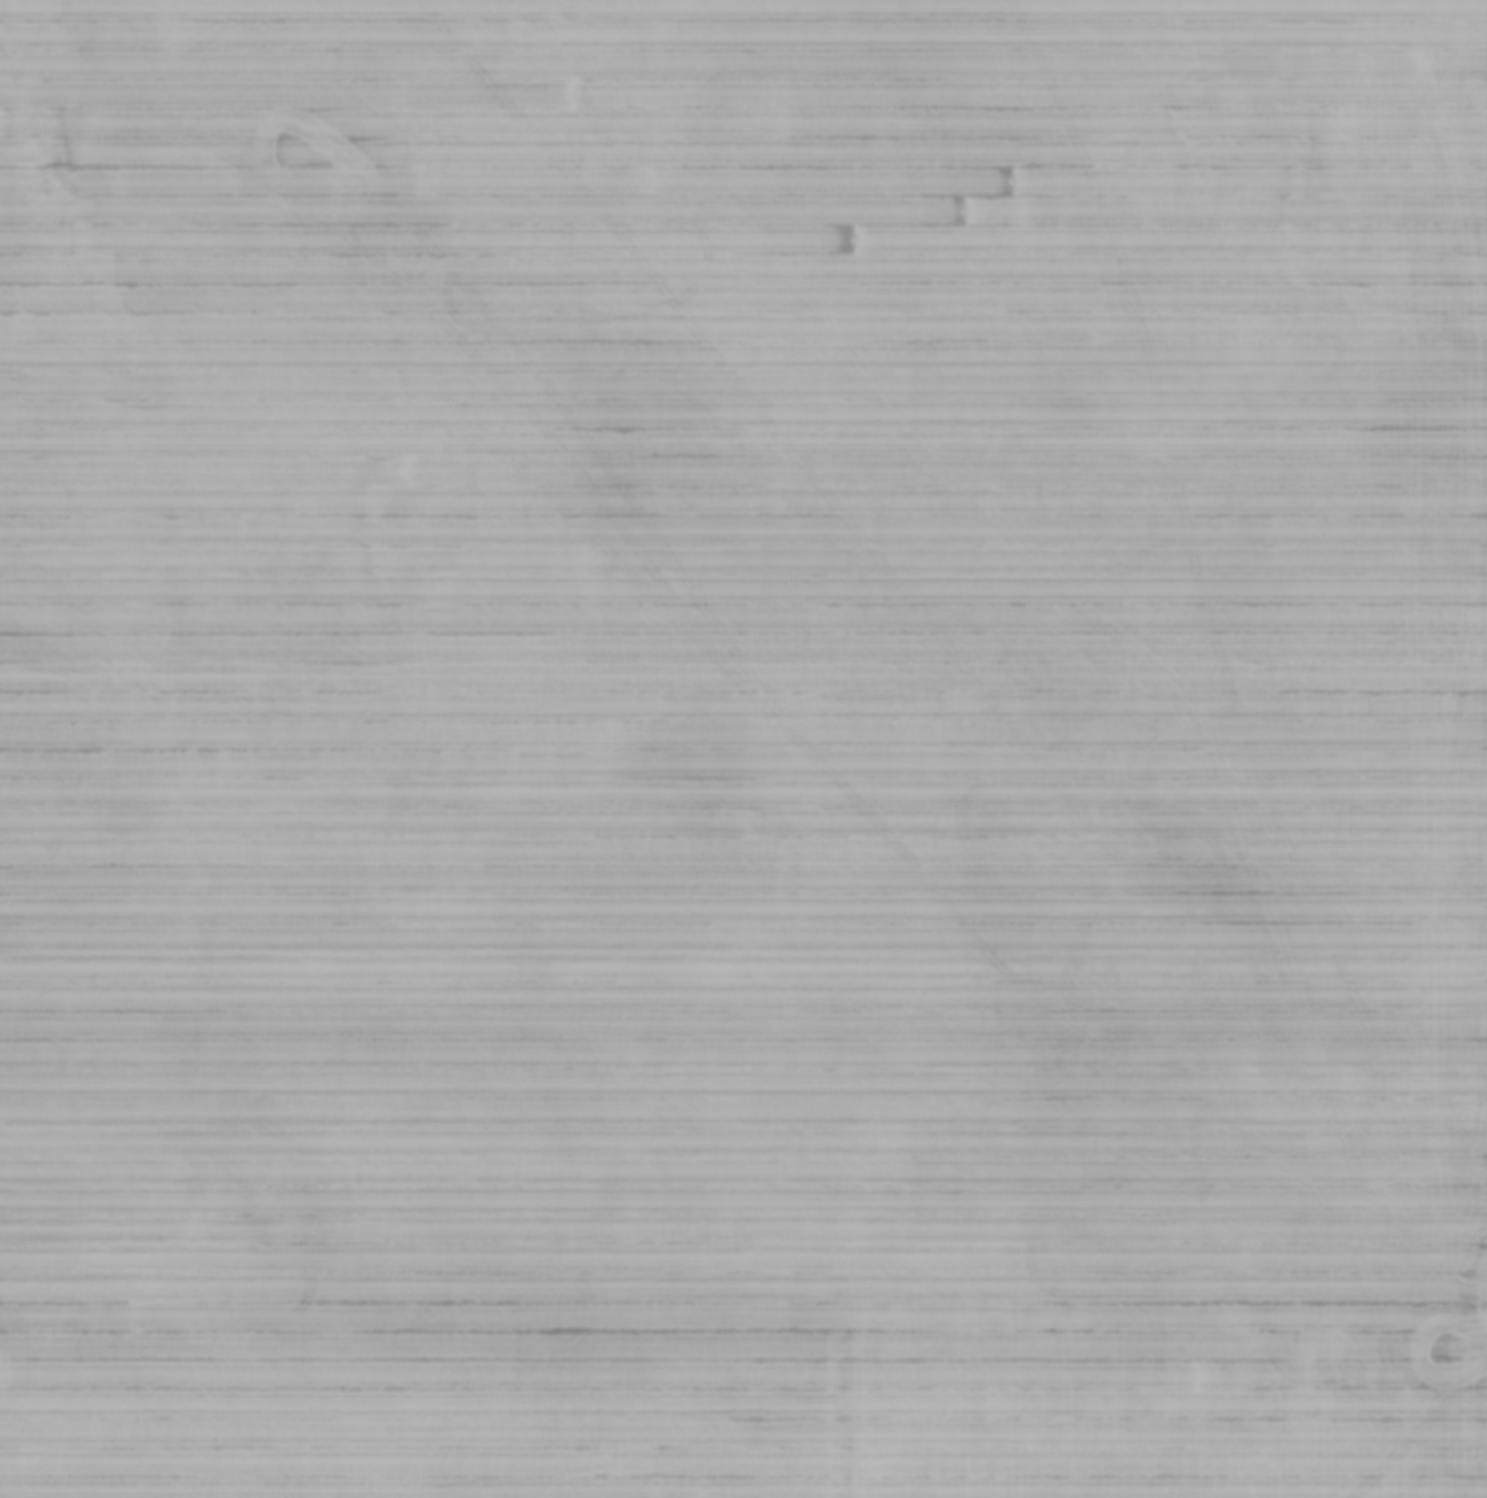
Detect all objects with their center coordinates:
road: (743, 1321)

